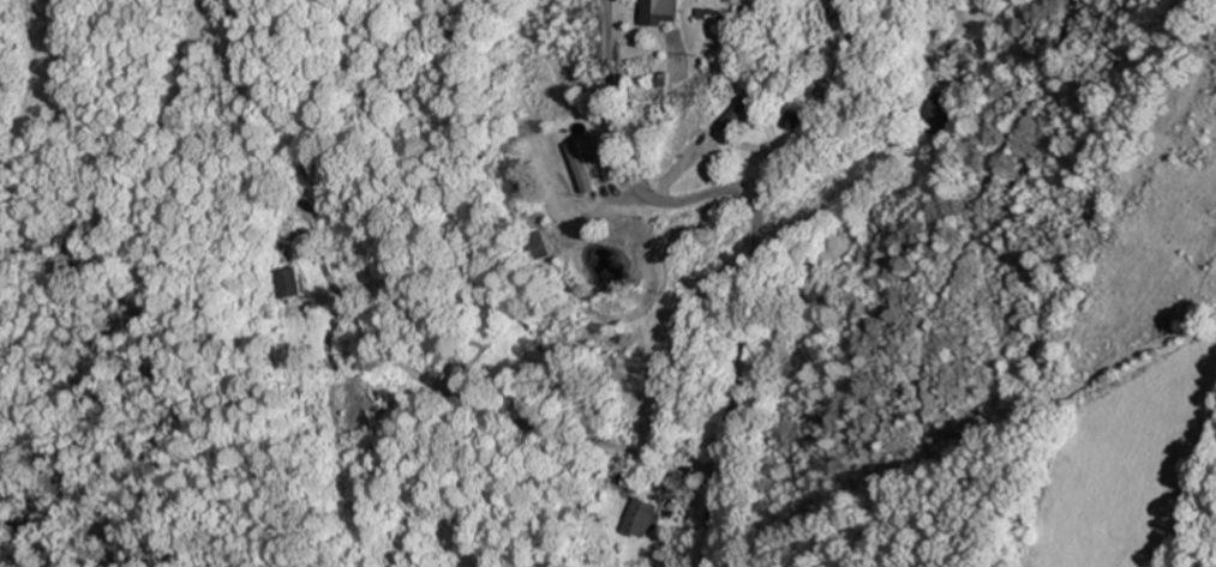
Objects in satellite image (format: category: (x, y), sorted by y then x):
building: (661, 12)
building: (935, 111)
building: (743, 114)
building: (796, 120)
building: (581, 167)
road: (754, 224)
building: (537, 246)
road: (592, 281)
building: (292, 283)
building: (642, 519)

